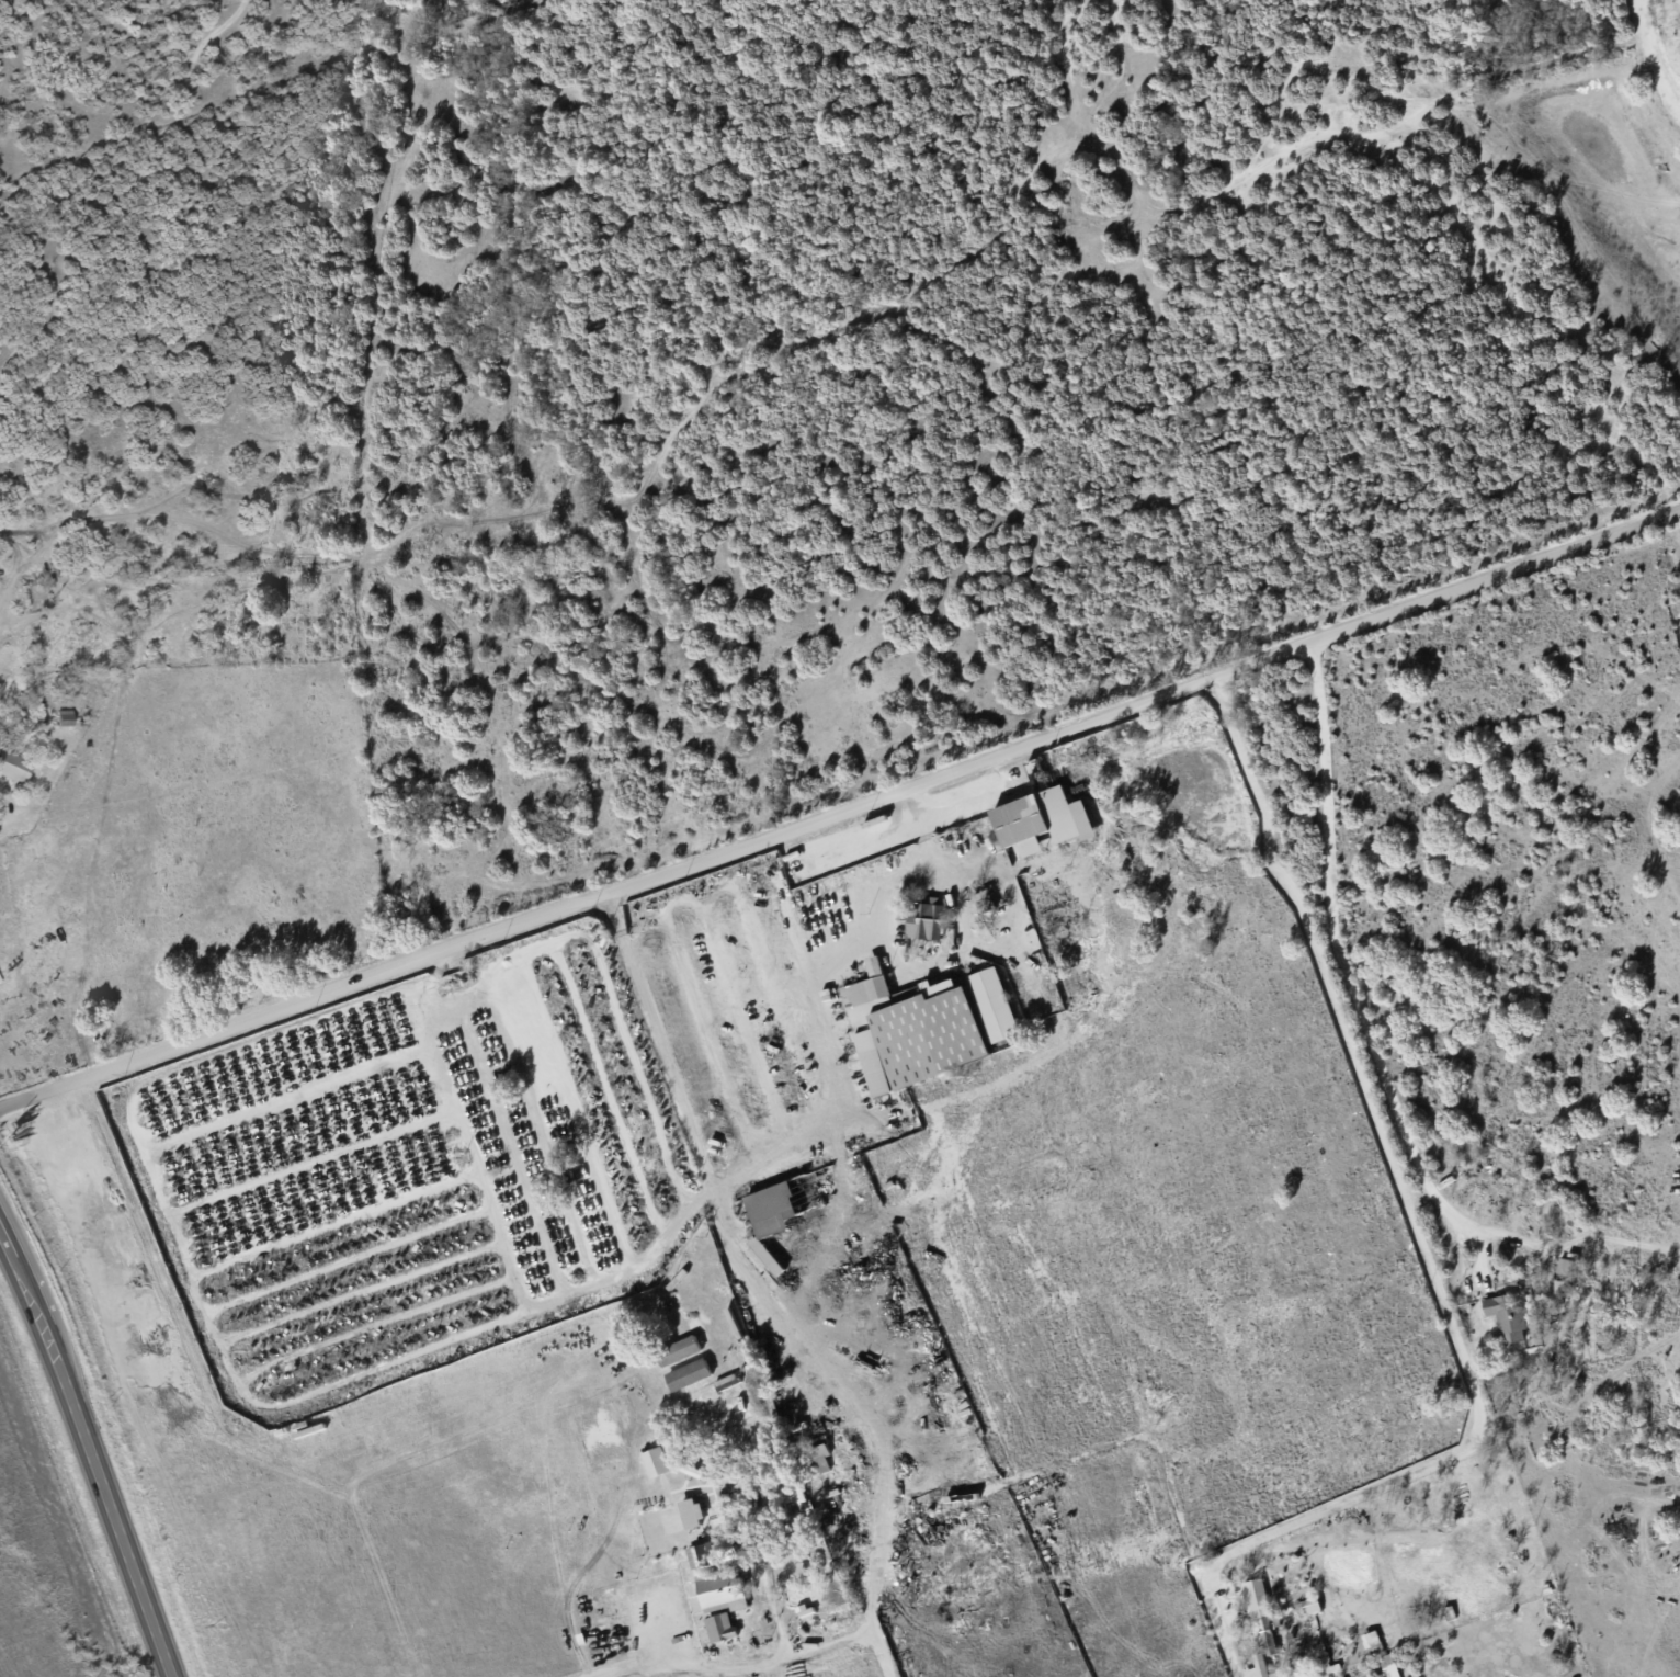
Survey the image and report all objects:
building: (13, 768)
road: (840, 807)
road: (2, 816)
building: (1041, 820)
building: (926, 919)
road: (1337, 962)
building: (994, 1005)
building: (911, 1029)
road: (657, 1043)
road: (280, 1080)
road: (294, 1119)
road: (845, 1130)
road: (135, 1136)
road: (472, 1149)
road: (306, 1154)
road: (319, 1186)
building: (770, 1210)
road: (332, 1221)
road: (1418, 1249)
road: (345, 1257)
building: (764, 1257)
building: (1563, 1267)
building: (1559, 1287)
road: (356, 1289)
building: (1505, 1316)
road: (370, 1324)
building: (677, 1352)
building: (686, 1375)
road: (90, 1452)
building: (819, 1458)
building: (654, 1462)
road: (1331, 1488)
building: (690, 1514)
building: (719, 1550)
building: (692, 1559)
building: (719, 1593)
building: (1309, 1607)
building: (1259, 1614)
building: (718, 1628)
building: (1371, 1642)
road: (787, 1654)
road: (636, 1659)
building: (1387, 1666)
building: (1257, 1668)

